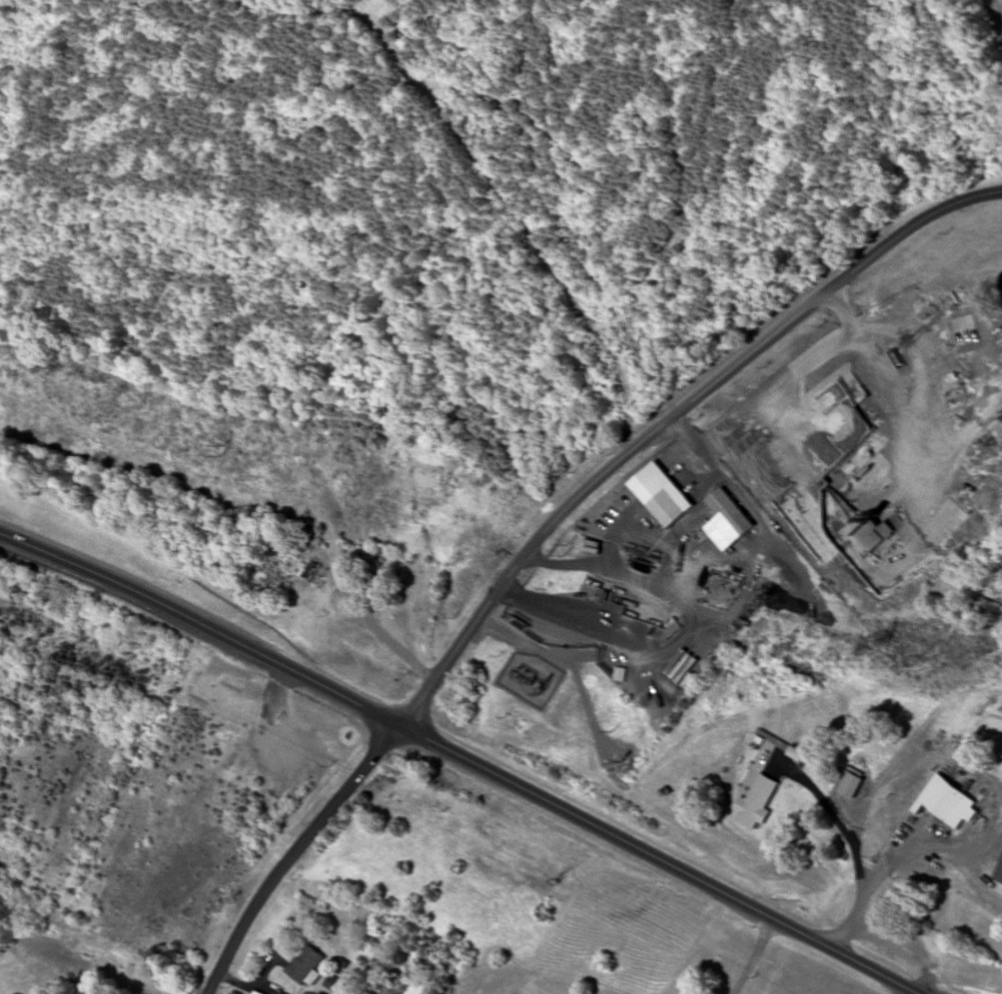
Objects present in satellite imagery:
road: (668, 422)
power tower: (228, 452)
building: (666, 510)
building: (731, 515)
power tower: (566, 550)
building: (314, 574)
building: (379, 606)
power tower: (881, 643)
building: (945, 745)
road: (461, 758)
building: (851, 792)
building: (948, 803)
road: (292, 852)
building: (999, 877)
building: (305, 967)
building: (254, 993)
building: (279, 993)

